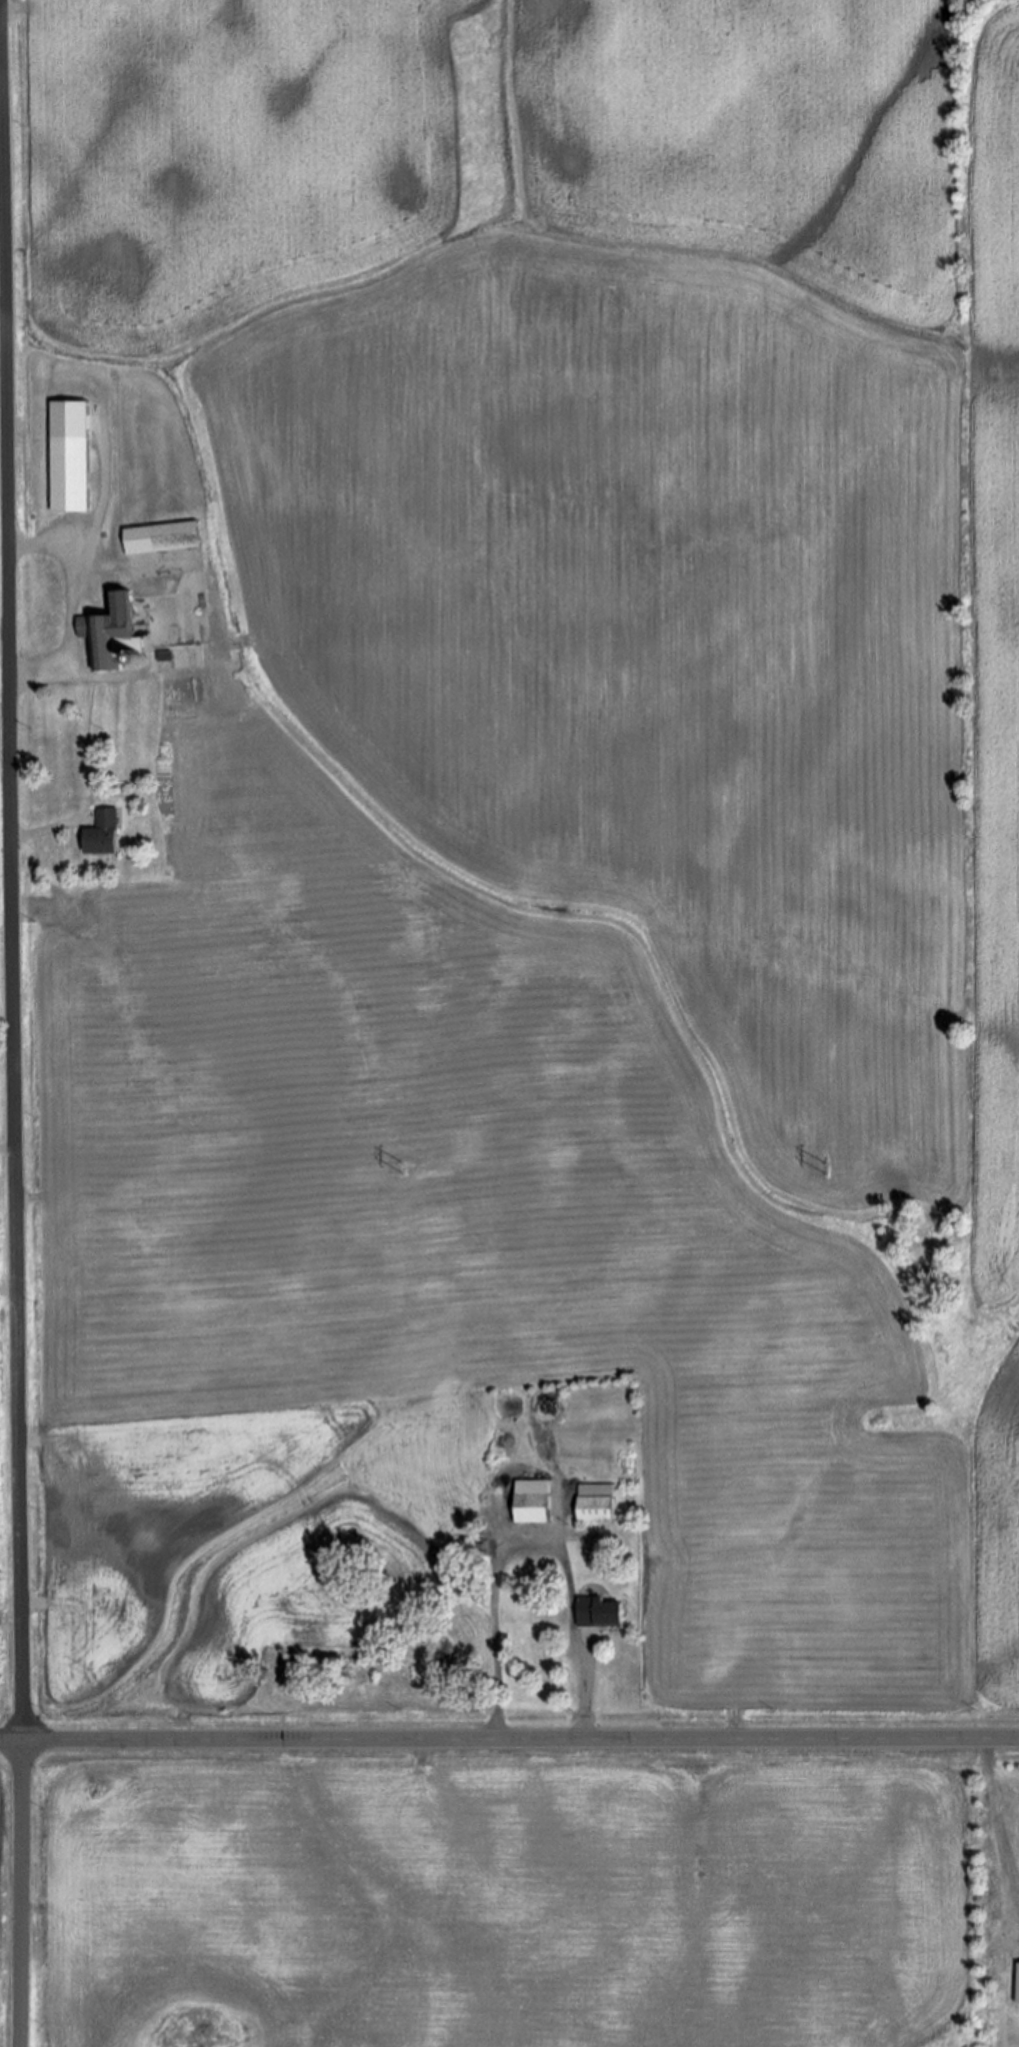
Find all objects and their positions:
building: (67, 457)
building: (159, 538)
building: (144, 565)
road: (71, 609)
building: (108, 636)
building: (65, 775)
crop: (551, 823)
road: (40, 832)
building: (99, 835)
road: (12, 1105)
crop: (2, 1167)
power tower: (408, 1168)
power tower: (823, 1173)
building: (529, 1503)
building: (594, 1505)
road: (531, 1548)
building: (596, 1614)
crop: (3, 1618)
road: (509, 1741)
road: (985, 1768)
crop: (499, 1898)
crop: (4, 1905)
building: (1017, 1984)

